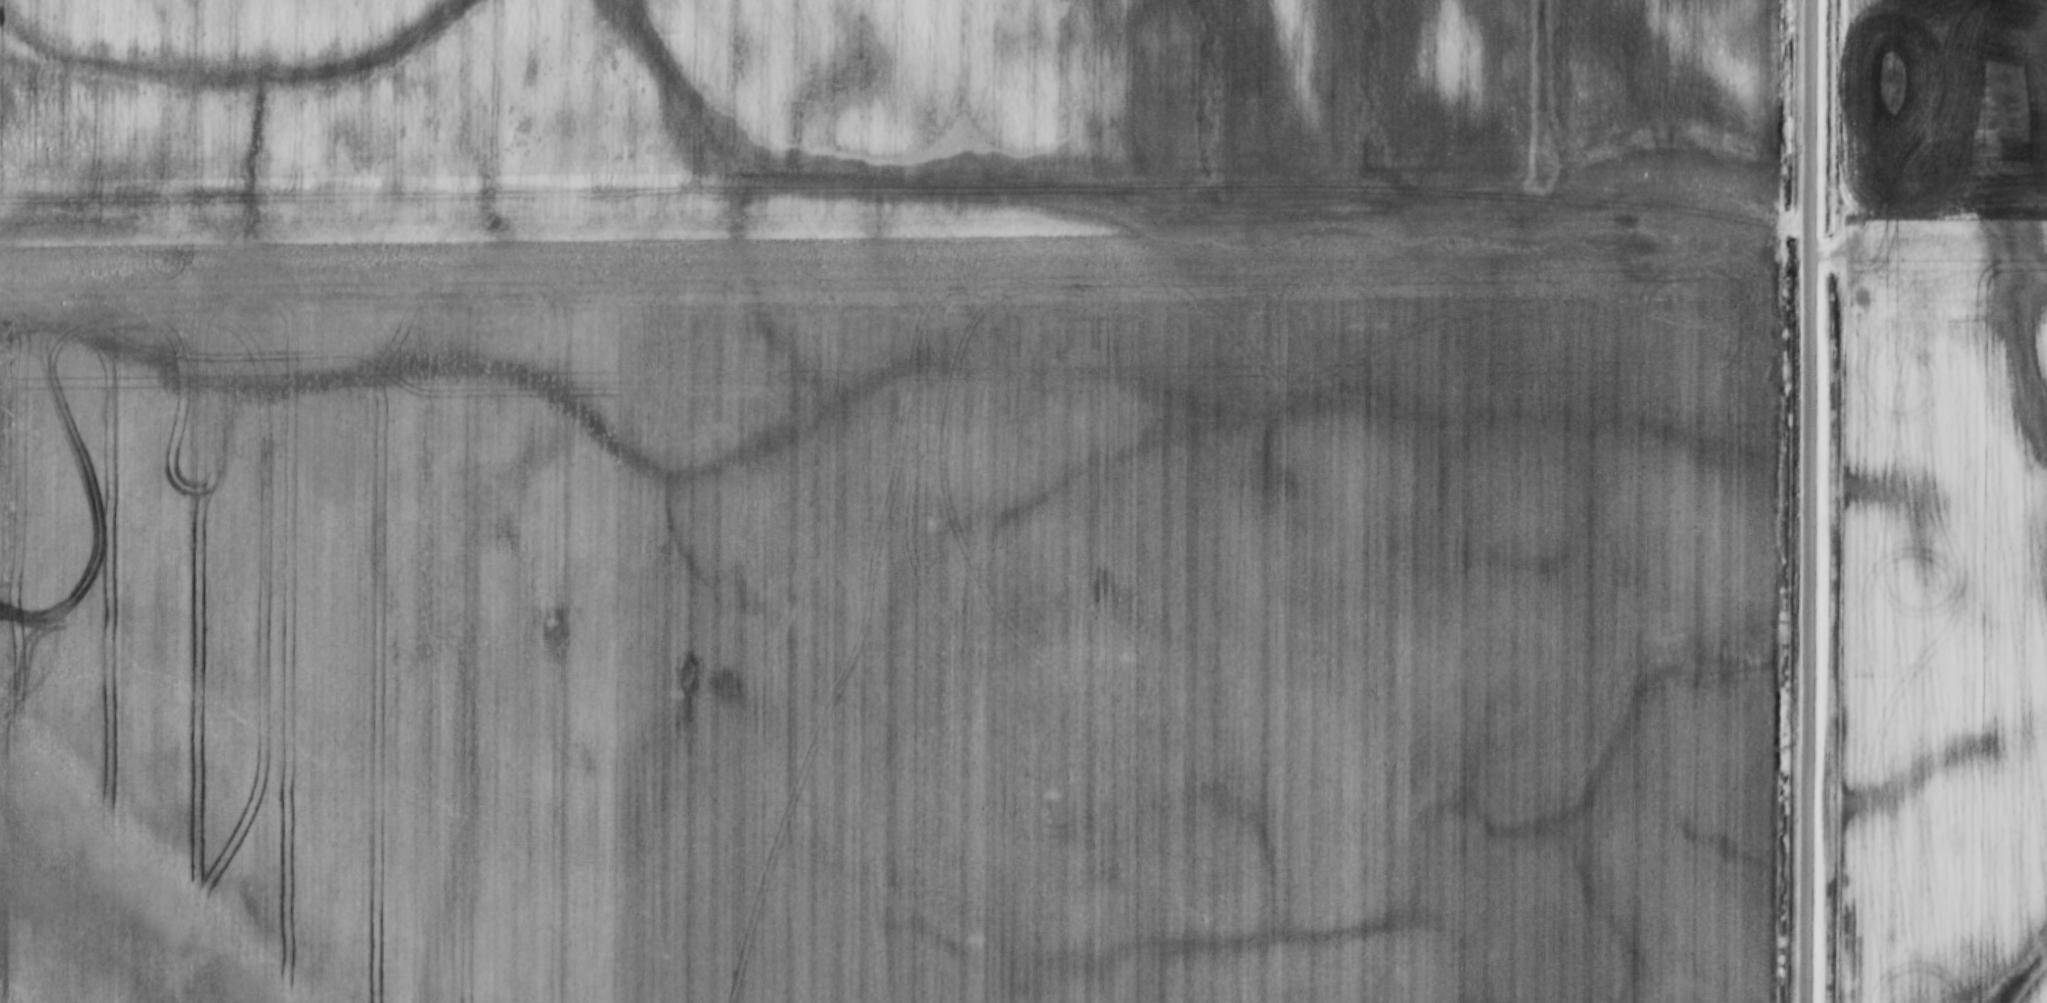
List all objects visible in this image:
road: (1811, 501)

